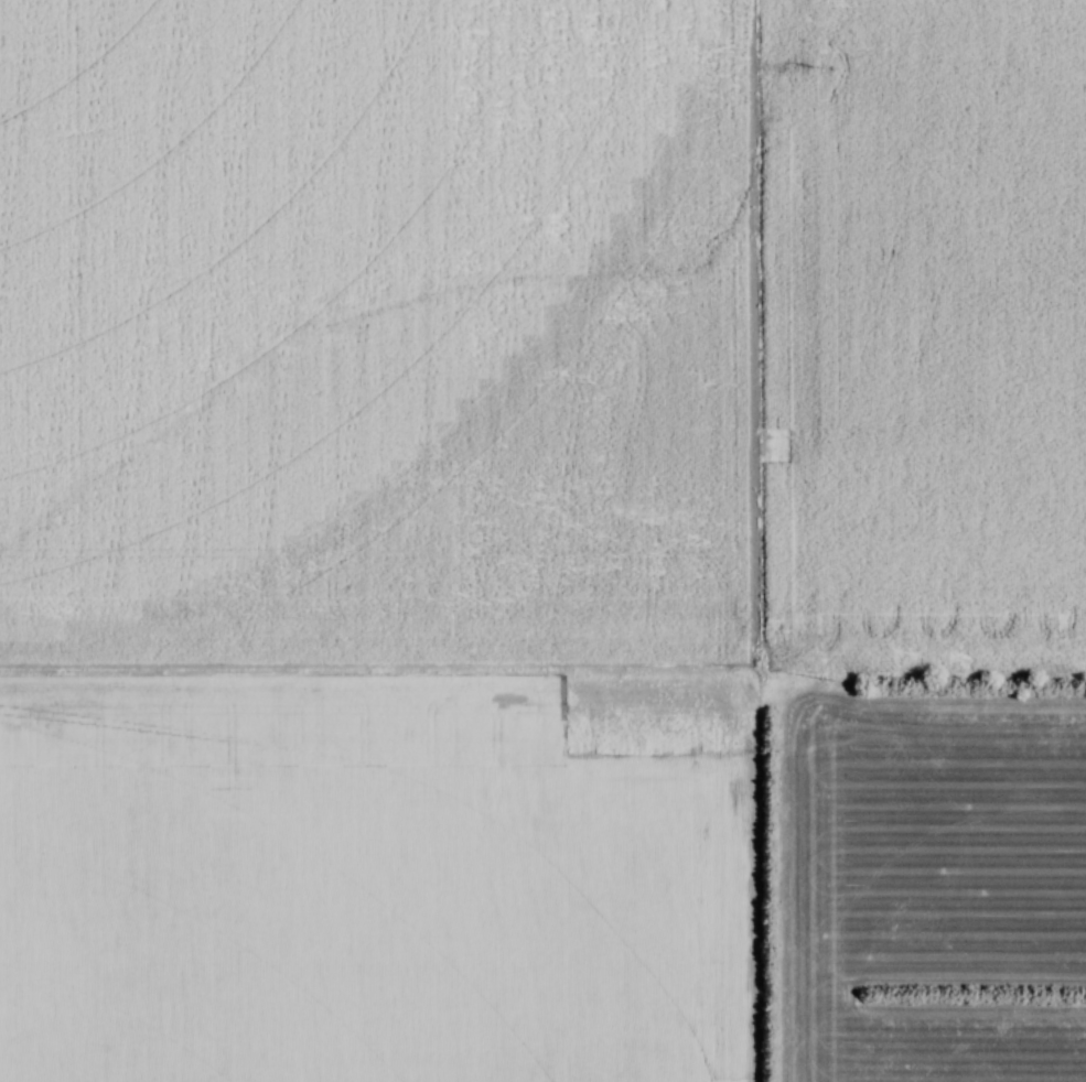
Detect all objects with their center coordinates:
crop: (918, 333)

